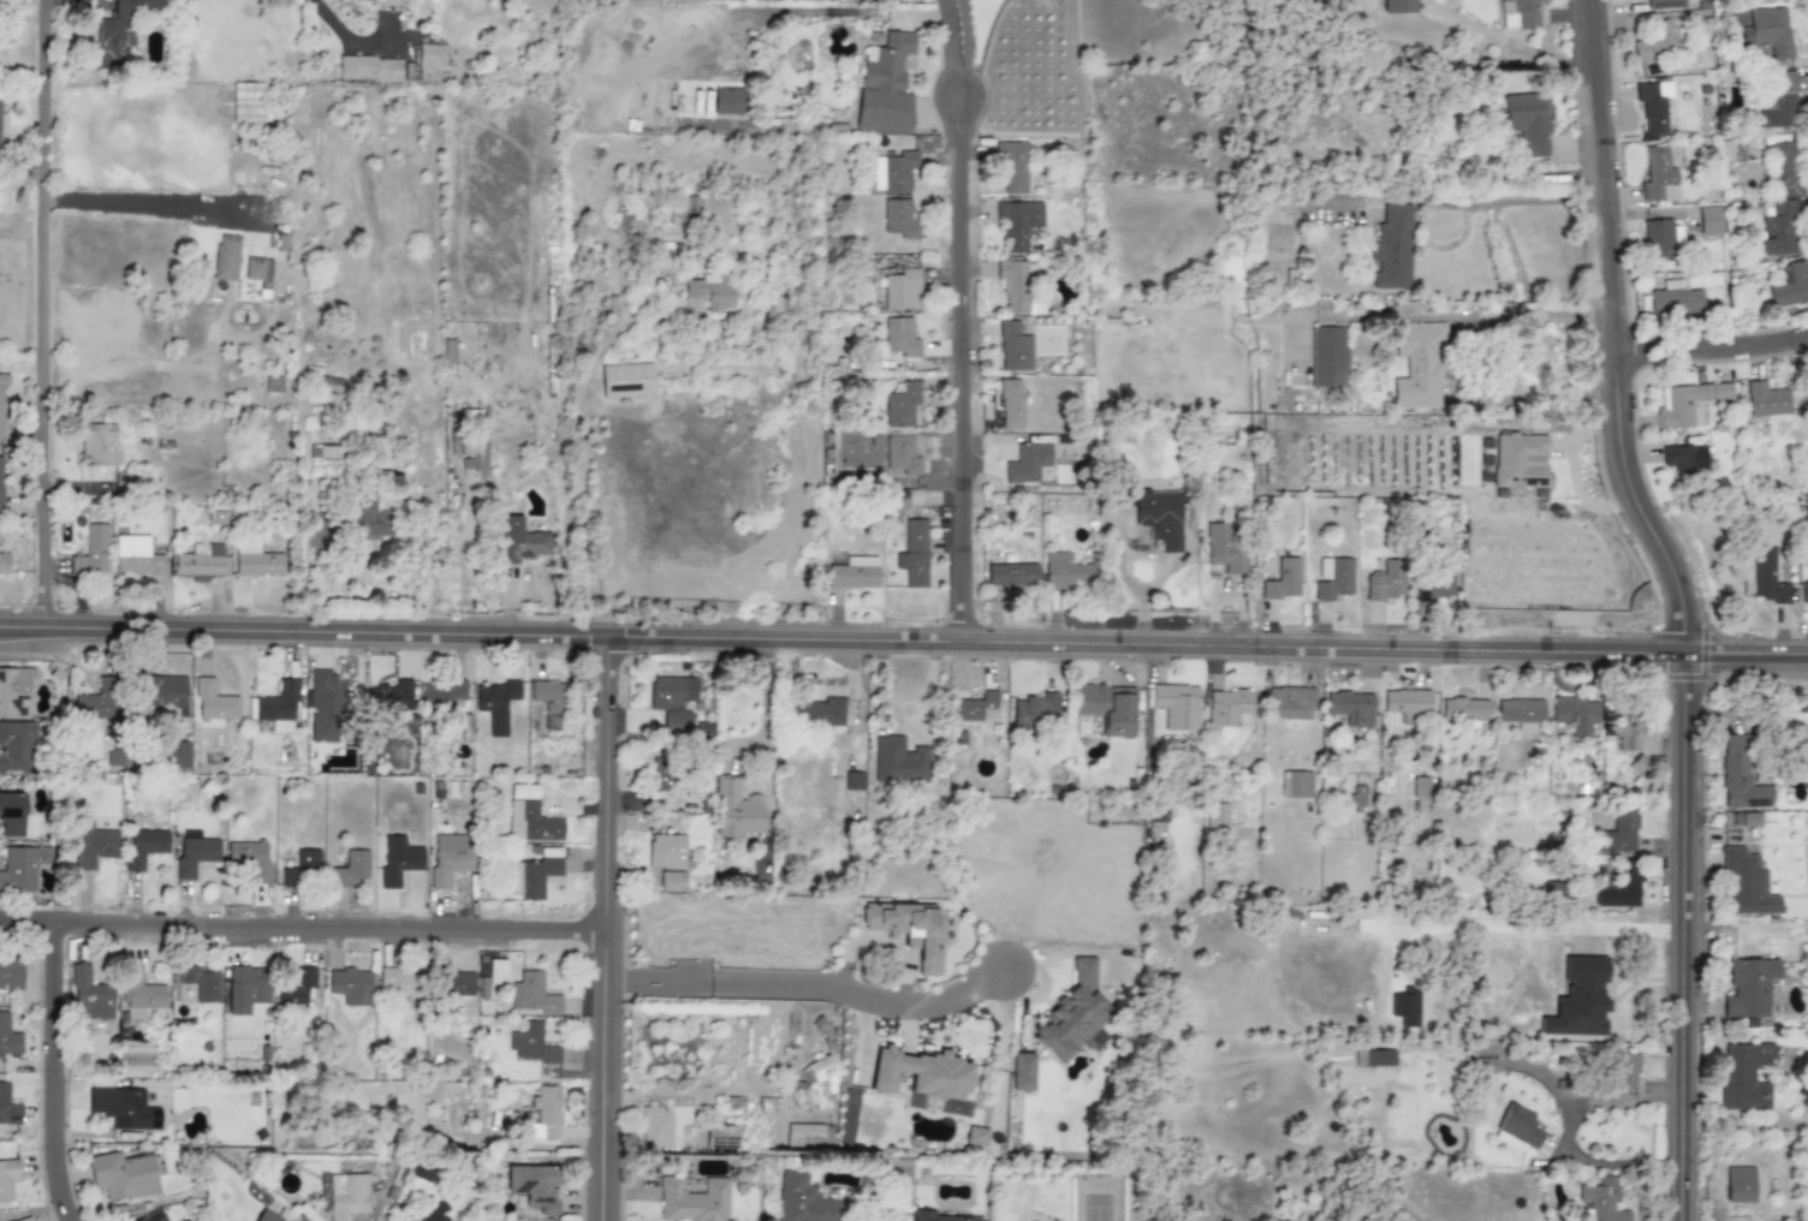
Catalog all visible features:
building: (1665, 5)
building: (1399, 7)
building: (1518, 14)
building: (120, 30)
building: (1770, 32)
building: (1654, 42)
road: (948, 44)
road: (965, 44)
building: (430, 55)
building: (369, 70)
building: (884, 87)
building: (1779, 100)
building: (726, 101)
building: (1652, 108)
building: (2, 125)
building: (1528, 125)
building: (1012, 168)
building: (1785, 169)
building: (898, 171)
building: (876, 173)
building: (1658, 175)
road: (154, 202)
road: (1512, 202)
building: (690, 209)
building: (898, 220)
building: (1709, 220)
building: (1017, 224)
building: (1779, 230)
building: (1659, 239)
building: (1390, 250)
building: (226, 258)
building: (257, 269)
building: (1012, 285)
building: (1790, 285)
building: (902, 290)
building: (707, 294)
building: (1675, 300)
road: (41, 312)
road: (1524, 316)
building: (900, 338)
road: (1705, 341)
building: (1013, 347)
building: (1330, 357)
road: (963, 364)
building: (1419, 364)
building: (626, 381)
building: (1765, 400)
building: (900, 403)
building: (1010, 404)
building: (1687, 404)
building: (0, 413)
road: (1453, 433)
building: (97, 445)
building: (469, 447)
building: (902, 455)
building: (1519, 461)
building: (1681, 461)
building: (1027, 463)
road: (581, 473)
building: (0, 478)
building: (1159, 518)
building: (371, 519)
building: (522, 542)
building: (1224, 548)
building: (91, 552)
building: (914, 554)
building: (136, 556)
road: (303, 559)
building: (203, 561)
building: (255, 561)
building: (4, 564)
building: (1065, 572)
building: (854, 573)
building: (1011, 576)
building: (1333, 578)
building: (1283, 580)
building: (1768, 580)
building: (1386, 582)
building: (1433, 585)
building: (1806, 598)
road: (1676, 602)
road: (903, 639)
building: (163, 691)
building: (671, 691)
building: (14, 692)
building: (444, 692)
building: (397, 696)
building: (548, 696)
building: (213, 702)
building: (96, 703)
building: (1290, 703)
building: (1405, 703)
building: (495, 704)
building: (1177, 705)
building: (326, 707)
building: (275, 708)
building: (975, 708)
building: (1106, 708)
building: (1350, 708)
building: (1231, 709)
road: (903, 711)
building: (1033, 711)
building: (1464, 711)
building: (820, 713)
building: (1521, 714)
building: (1575, 714)
building: (676, 722)
building: (1628, 733)
road: (766, 734)
building: (17, 748)
building: (178, 754)
building: (112, 758)
building: (898, 762)
building: (662, 775)
building: (1739, 776)
building: (1295, 785)
building: (1420, 787)
building: (1356, 798)
building: (736, 810)
building: (11, 815)
building: (530, 816)
building: (1215, 820)
building: (1619, 834)
building: (93, 848)
building: (142, 848)
building: (666, 852)
building: (194, 853)
building: (250, 859)
building: (399, 862)
building: (448, 864)
building: (22, 868)
building: (303, 869)
building: (351, 869)
building: (539, 874)
building: (672, 882)
building: (1747, 885)
building: (1623, 887)
road: (303, 925)
road: (607, 928)
building: (910, 931)
building: (10, 972)
building: (498, 972)
building: (403, 983)
building: (454, 983)
building: (202, 984)
road: (822, 984)
building: (351, 987)
building: (246, 989)
building: (296, 989)
building: (1748, 989)
building: (533, 995)
building: (89, 996)
building: (141, 996)
building: (1580, 1000)
building: (1075, 1018)
building: (7, 1037)
building: (533, 1046)
building: (1488, 1071)
building: (1022, 1072)
road: (54, 1073)
building: (1626, 1073)
building: (1744, 1076)
building: (924, 1079)
building: (816, 1086)
building: (8, 1108)
building: (124, 1109)
building: (545, 1115)
building: (665, 1124)
building: (1517, 1130)
road: (1565, 1134)
building: (804, 1136)
building: (975, 1136)
building: (721, 1138)
building: (123, 1175)
building: (7, 1178)
building: (1739, 1184)
building: (535, 1186)
building: (347, 1196)
building: (1604, 1199)
building: (692, 1201)
building: (805, 1202)
building: (434, 1214)
building: (922, 1214)
building: (266, 1216)
building: (153, 1217)
building: (23, 1220)

